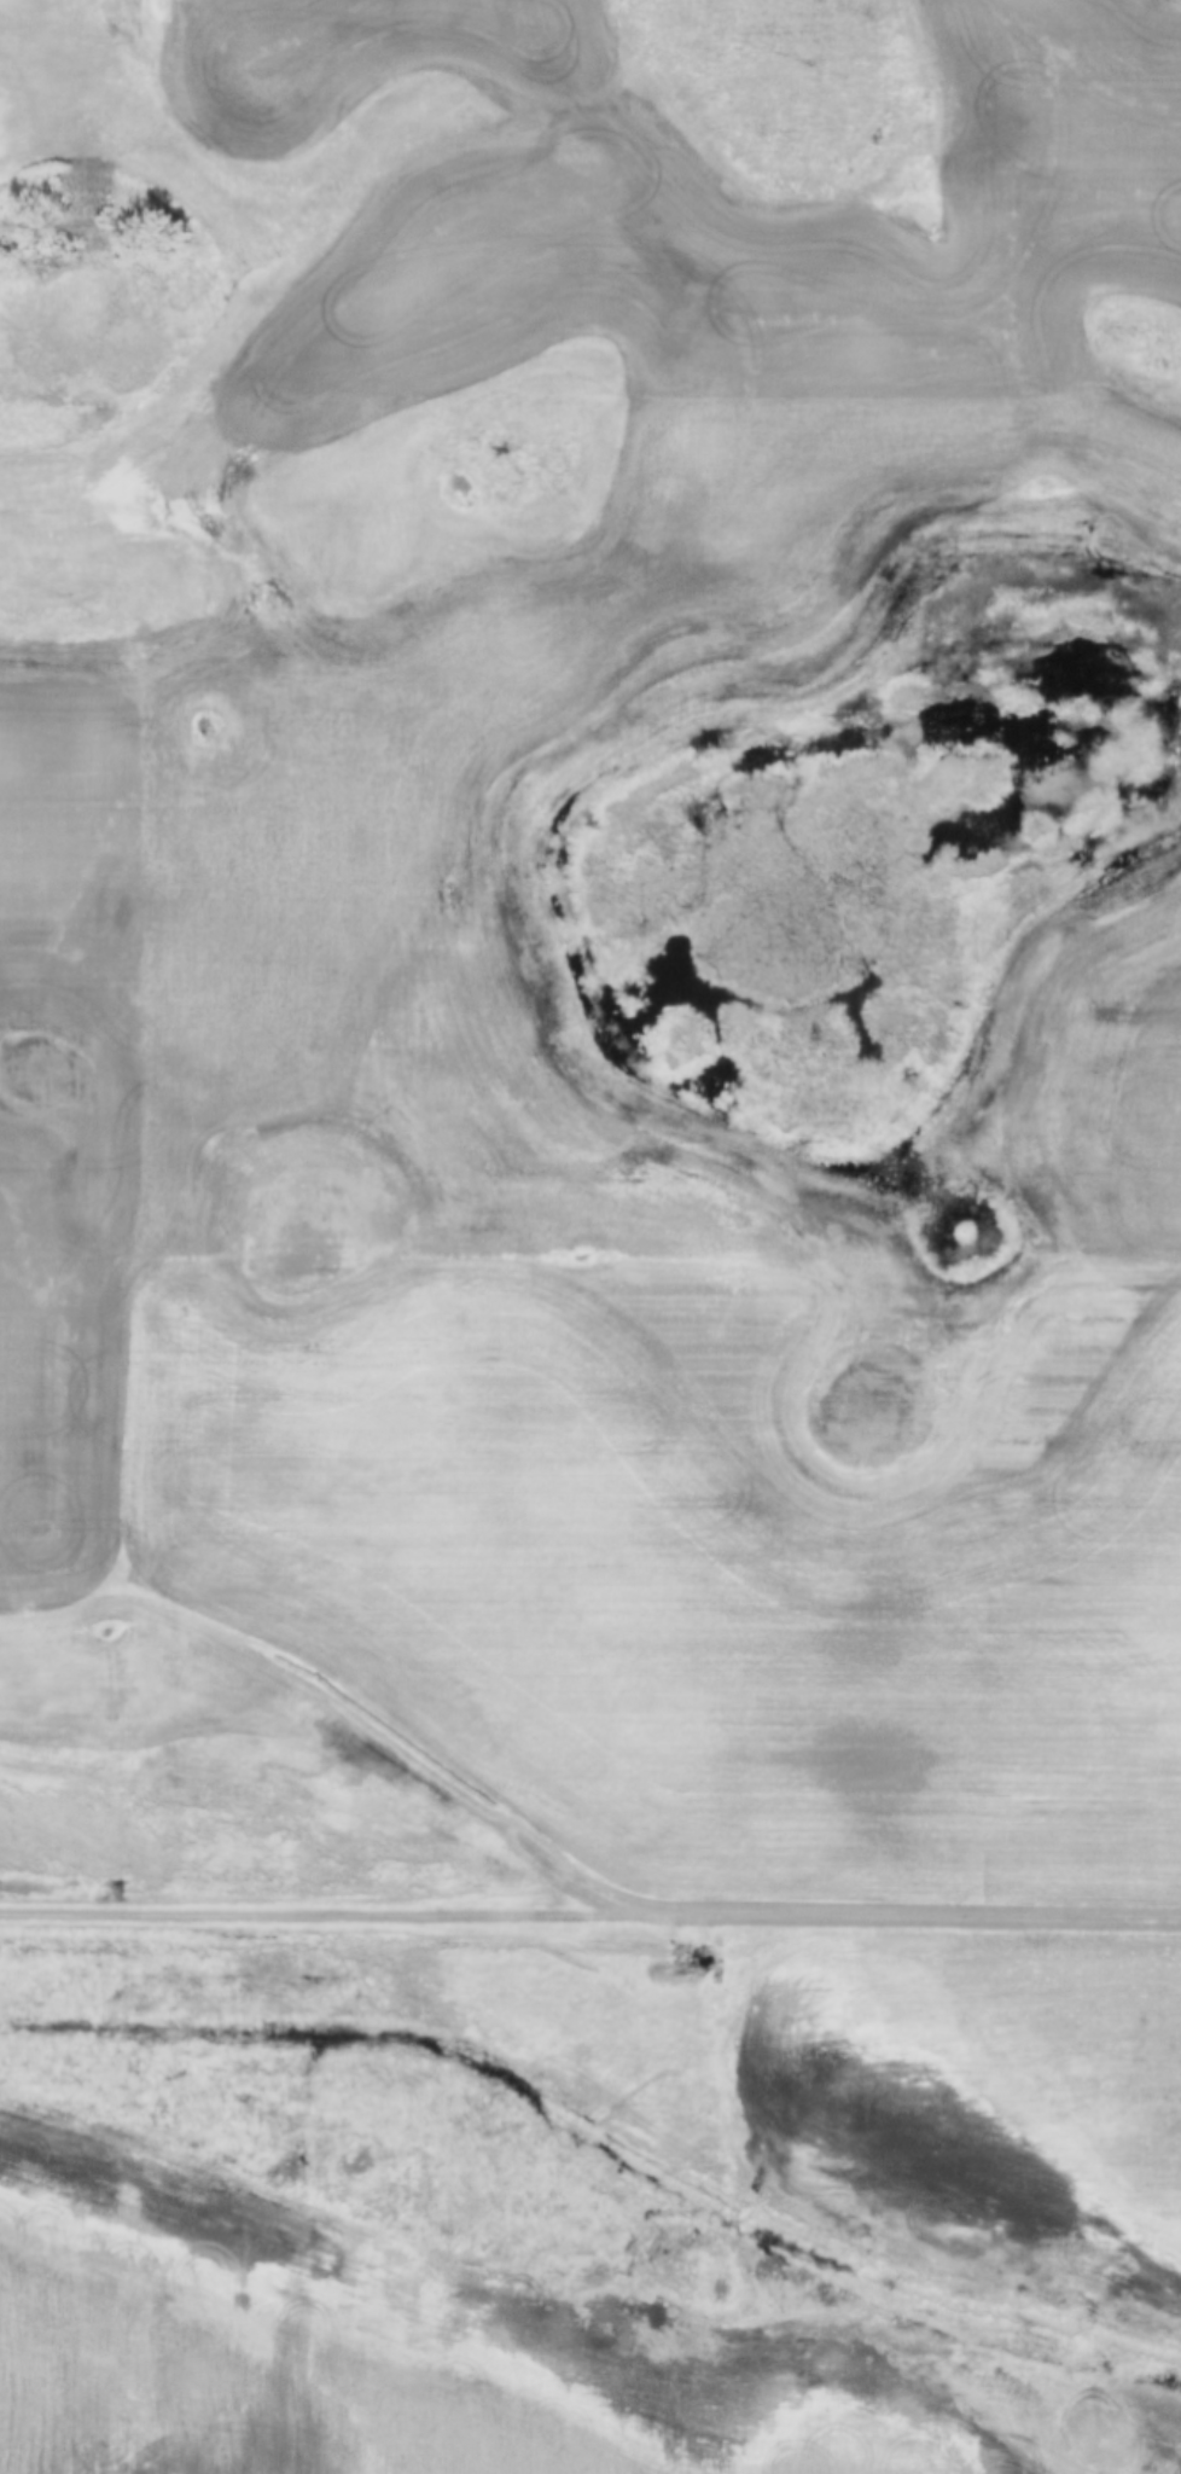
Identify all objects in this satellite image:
road: (590, 1906)

